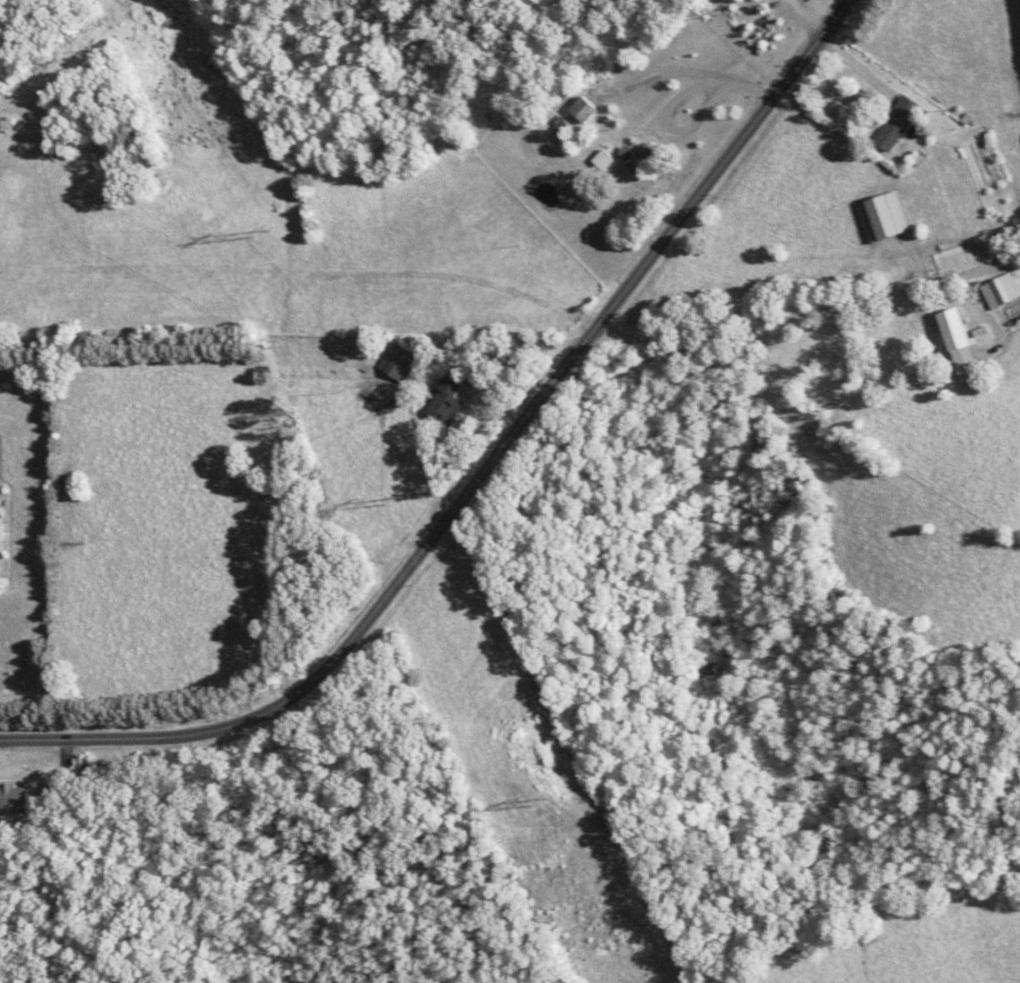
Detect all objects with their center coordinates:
building: (590, 110)
building: (903, 125)
building: (643, 158)
building: (608, 160)
power tower: (265, 236)
building: (1005, 292)
building: (964, 342)
building: (405, 363)
building: (451, 403)
road: (485, 472)
power tower: (398, 503)
building: (15, 797)
power tower: (554, 806)

